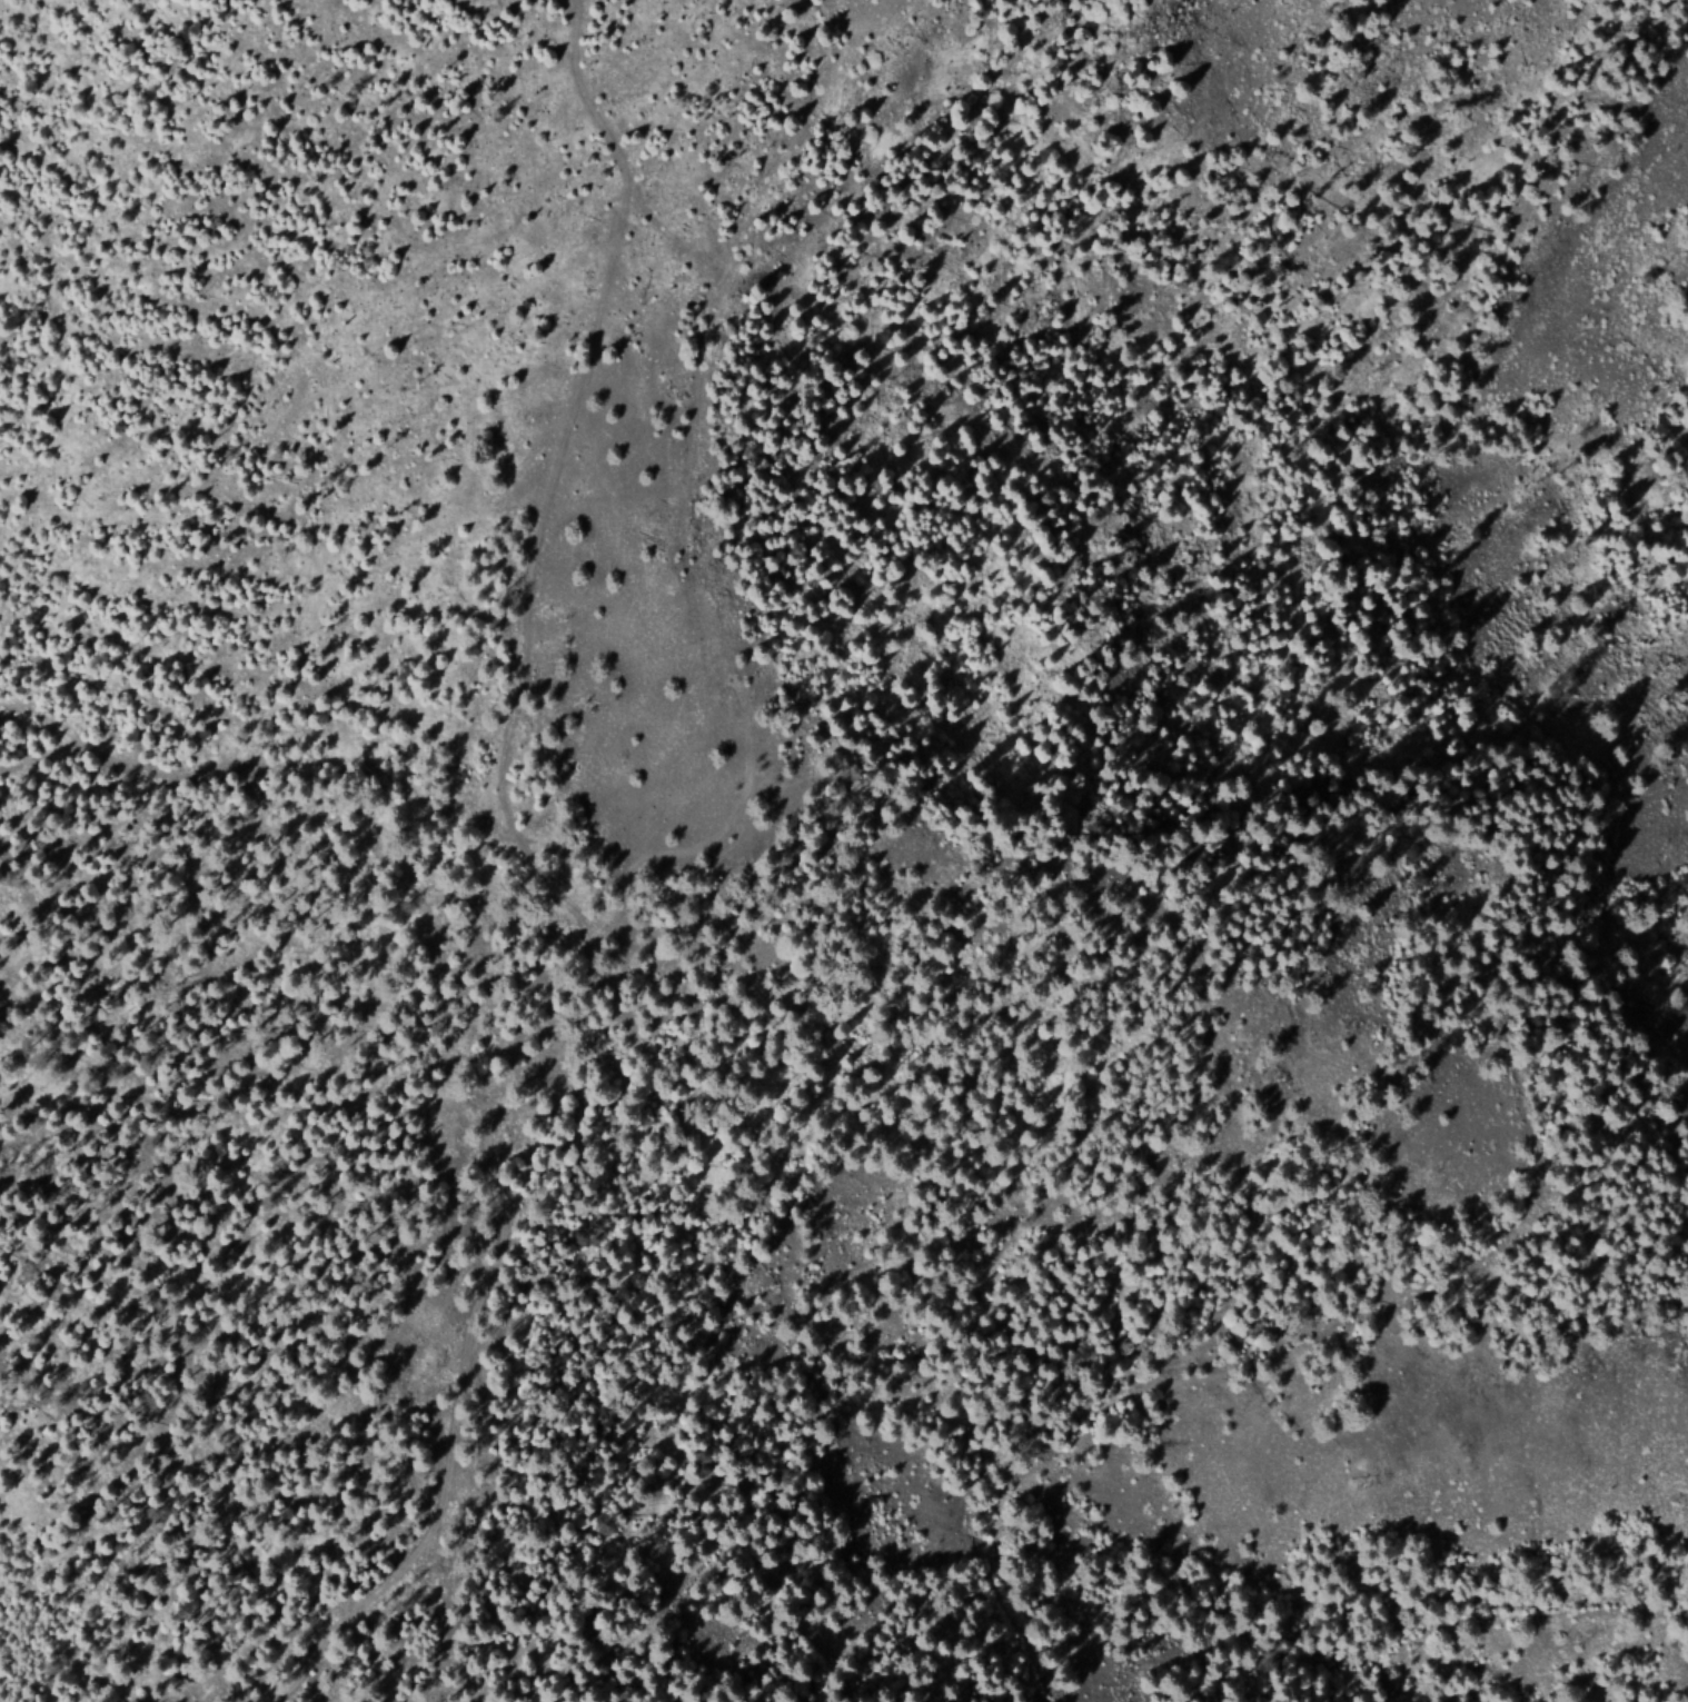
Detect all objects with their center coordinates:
road: (588, 345)
road: (1176, 1389)
road: (1523, 1658)

